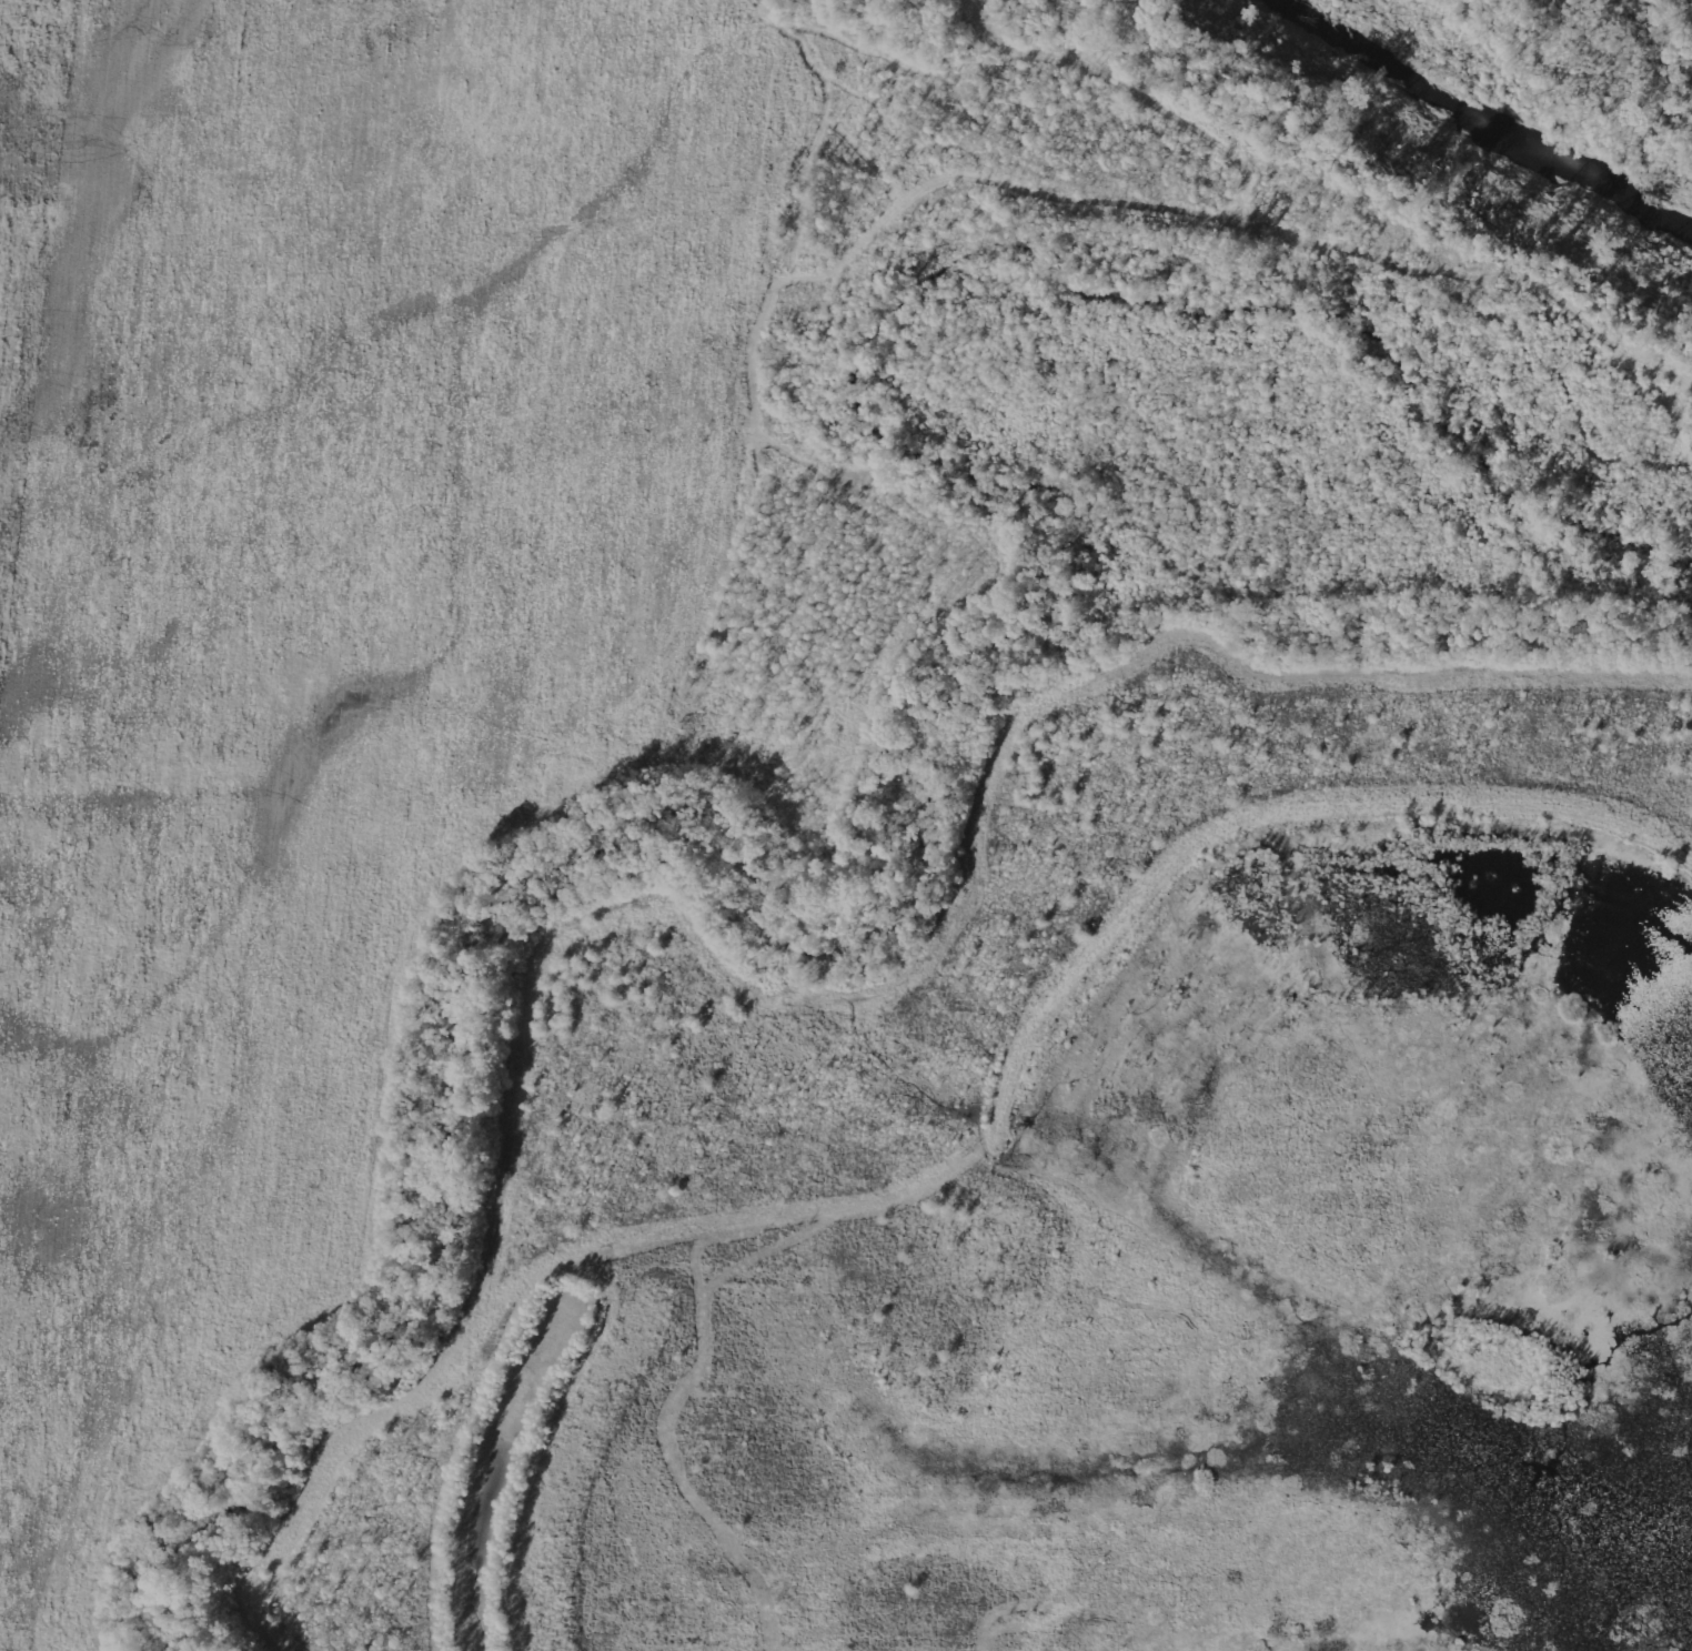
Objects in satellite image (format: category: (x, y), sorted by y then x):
river: (1474, 121)

